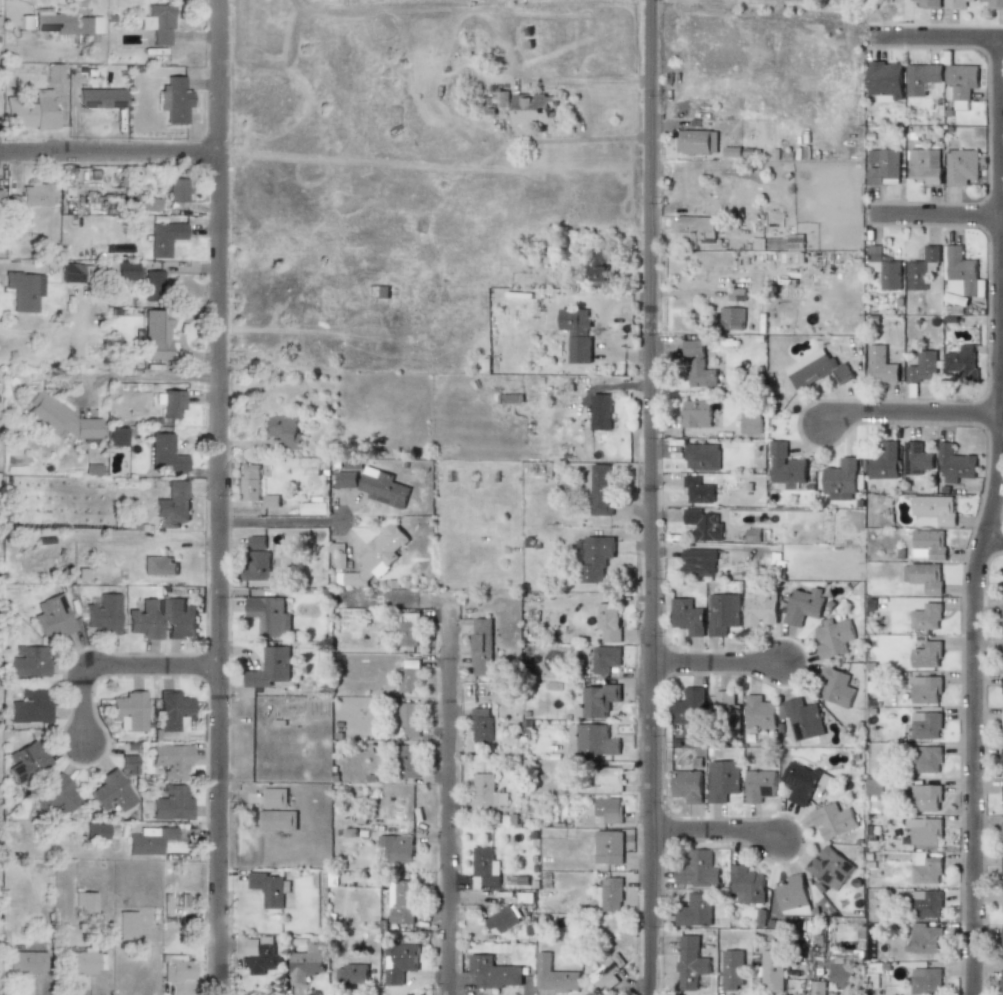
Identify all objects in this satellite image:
building: (928, 3)
building: (955, 3)
building: (994, 4)
building: (25, 22)
building: (157, 23)
road: (936, 39)
building: (52, 73)
building: (921, 79)
building: (885, 81)
building: (961, 83)
building: (100, 98)
building: (501, 100)
building: (175, 101)
building: (534, 109)
building: (31, 112)
building: (696, 141)
road: (113, 157)
building: (924, 165)
building: (883, 166)
building: (961, 166)
building: (176, 190)
building: (34, 195)
road: (935, 216)
building: (695, 230)
building: (164, 238)
building: (795, 241)
road: (1, 263)
building: (884, 268)
building: (597, 269)
building: (921, 269)
building: (125, 271)
building: (960, 274)
building: (73, 275)
building: (153, 285)
building: (23, 290)
building: (736, 293)
building: (732, 318)
building: (577, 333)
building: (156, 335)
building: (962, 360)
building: (697, 366)
building: (880, 366)
building: (923, 366)
building: (816, 369)
road: (101, 377)
building: (170, 402)
building: (601, 412)
building: (695, 414)
road: (908, 414)
building: (59, 418)
building: (750, 421)
building: (284, 430)
building: (117, 436)
building: (166, 453)
building: (702, 457)
building: (916, 458)
building: (884, 462)
building: (954, 464)
building: (785, 466)
building: (346, 479)
building: (840, 480)
building: (250, 482)
building: (383, 488)
building: (600, 489)
building: (698, 490)
road: (225, 497)
road: (651, 497)
building: (270, 501)
building: (173, 504)
building: (313, 508)
building: (935, 508)
road: (989, 518)
road: (283, 519)
building: (703, 524)
road: (993, 539)
building: (256, 542)
building: (929, 544)
building: (376, 557)
building: (596, 557)
building: (699, 563)
building: (158, 566)
building: (257, 566)
building: (926, 577)
road: (401, 597)
building: (803, 606)
building: (760, 608)
building: (723, 613)
building: (103, 614)
building: (928, 614)
building: (269, 615)
building: (52, 616)
building: (687, 616)
building: (145, 619)
building: (179, 619)
building: (607, 621)
building: (408, 633)
building: (834, 638)
building: (481, 646)
building: (925, 655)
building: (603, 659)
building: (28, 661)
road: (718, 663)
building: (270, 668)
road: (122, 671)
building: (409, 676)
building: (835, 688)
building: (925, 690)
building: (596, 701)
building: (29, 706)
building: (690, 707)
building: (727, 707)
building: (129, 711)
building: (172, 711)
building: (760, 713)
building: (408, 718)
building: (801, 718)
building: (481, 725)
building: (925, 725)
building: (1002, 727)
building: (595, 740)
building: (926, 759)
building: (170, 760)
building: (26, 761)
building: (409, 761)
building: (126, 764)
building: (1002, 765)
building: (1002, 774)
building: (607, 778)
building: (722, 780)
building: (799, 783)
building: (687, 785)
building: (759, 785)
building: (875, 786)
building: (110, 792)
building: (486, 792)
building: (56, 797)
building: (274, 797)
building: (926, 798)
building: (170, 804)
road: (447, 806)
building: (608, 809)
building: (277, 820)
building: (832, 820)
building: (96, 831)
road: (716, 831)
building: (924, 831)
building: (147, 839)
building: (1002, 839)
building: (397, 847)
building: (608, 847)
building: (1002, 848)
building: (830, 867)
building: (485, 868)
building: (698, 869)
building: (925, 869)
building: (1002, 869)
building: (746, 885)
building: (268, 888)
building: (611, 894)
building: (792, 897)
building: (84, 901)
building: (402, 902)
building: (927, 904)
building: (1002, 907)
building: (695, 911)
building: (502, 919)
building: (126, 925)
building: (1002, 941)
building: (260, 955)
building: (82, 962)
building: (399, 962)
building: (690, 962)
building: (26, 963)
building: (306, 963)
building: (177, 968)
building: (732, 969)
building: (772, 970)
building: (494, 972)
building: (606, 972)
building: (351, 974)
building: (554, 975)
building: (1002, 975)
building: (841, 976)
building: (926, 980)
building: (818, 988)

